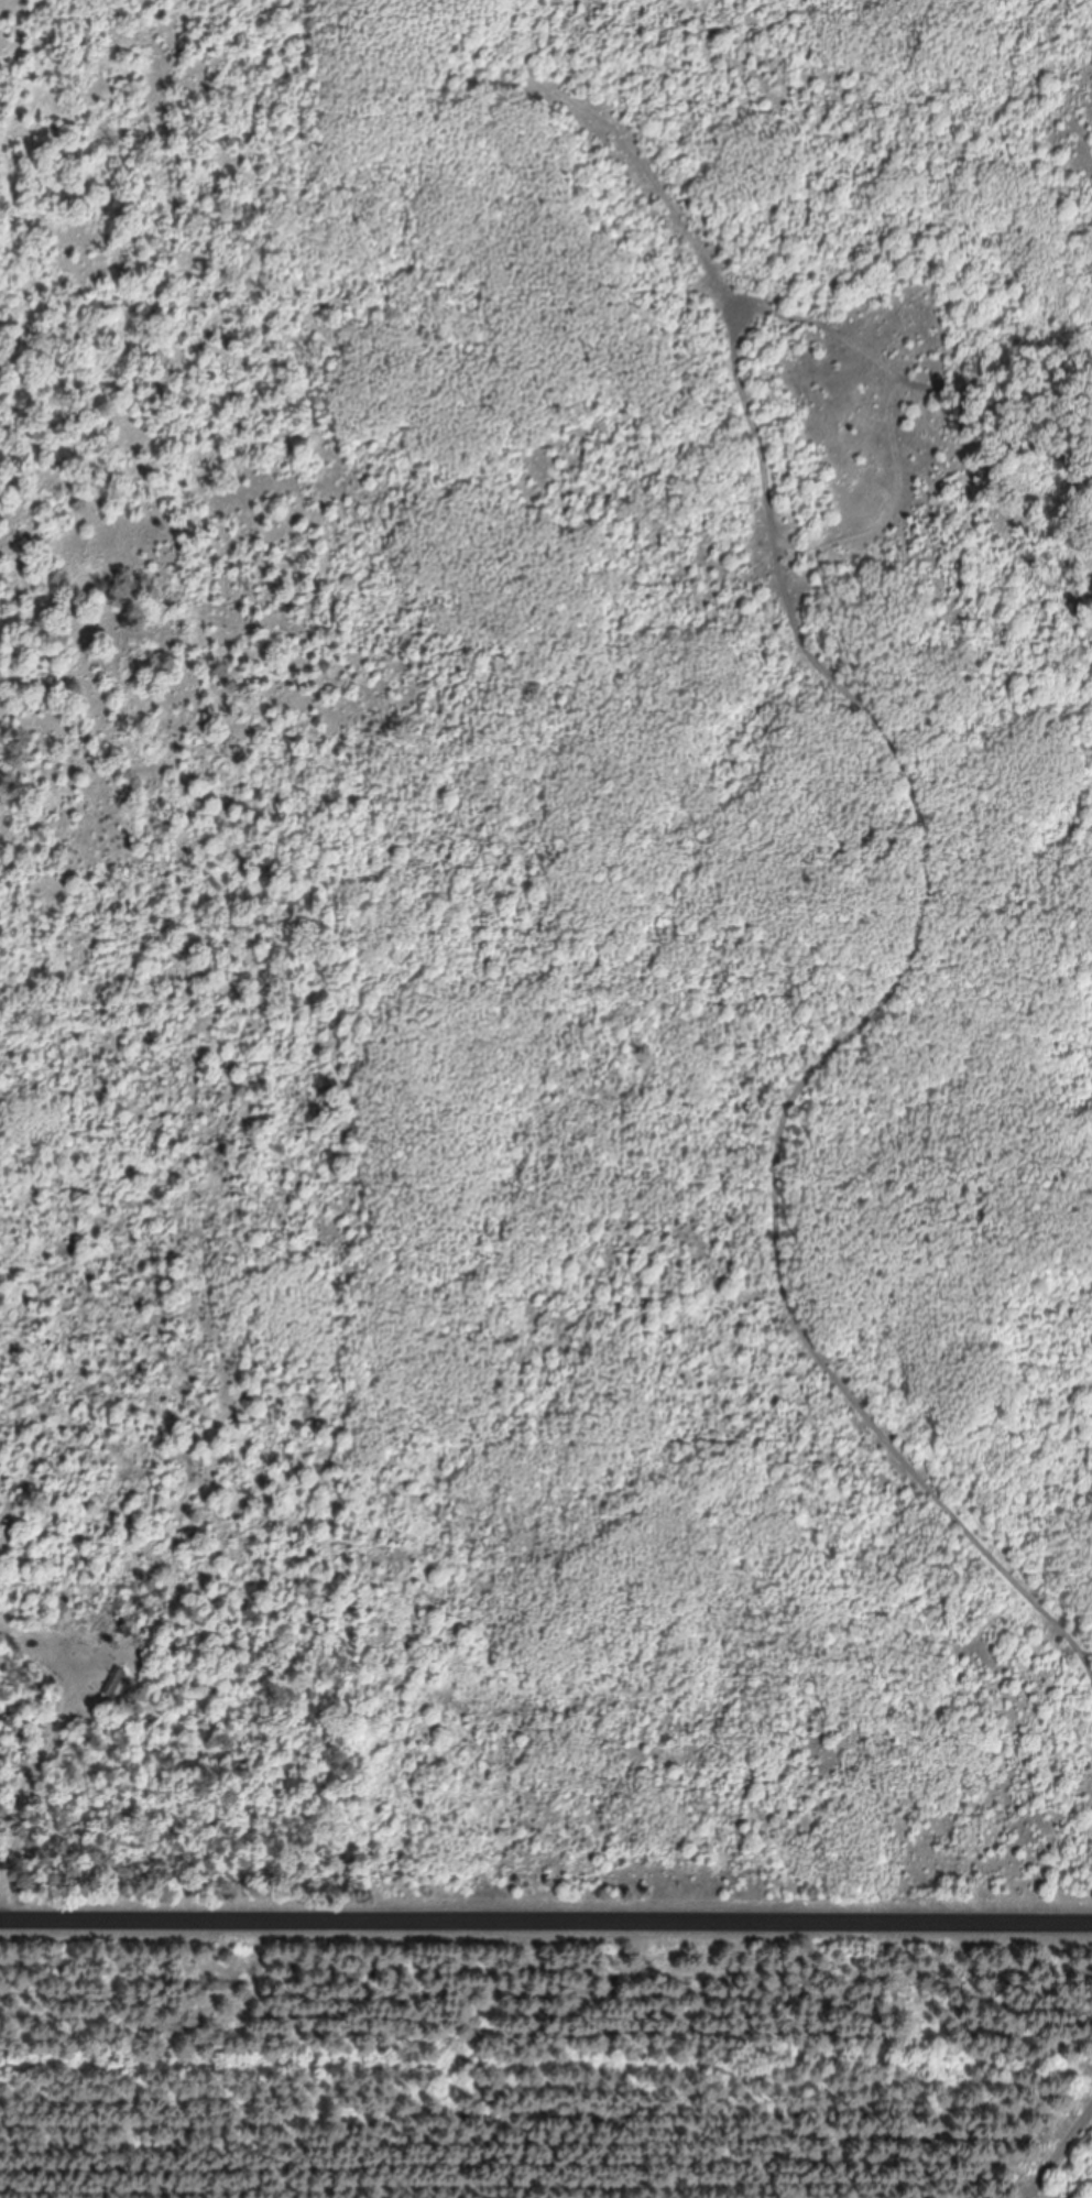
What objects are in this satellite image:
building: (118, 1676)
road: (546, 1906)
road: (1056, 2147)

